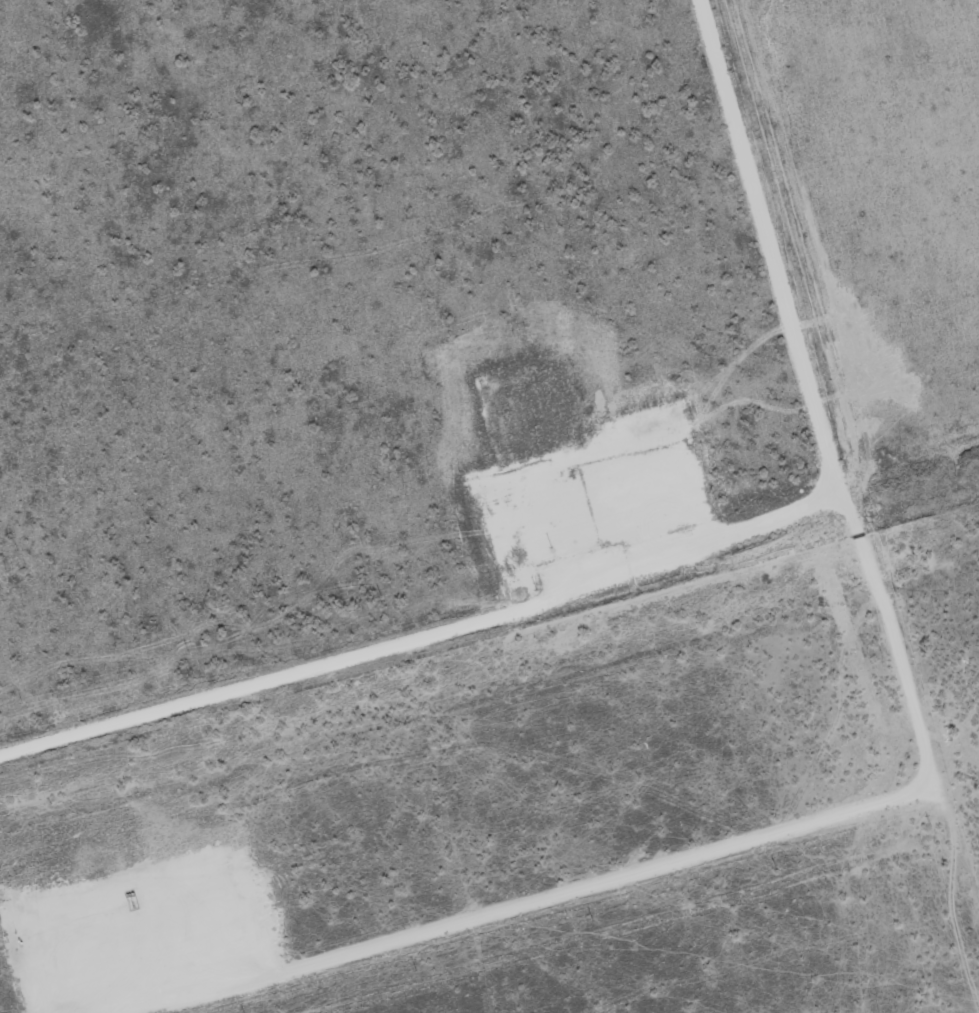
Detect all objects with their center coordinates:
road: (206, 994)

